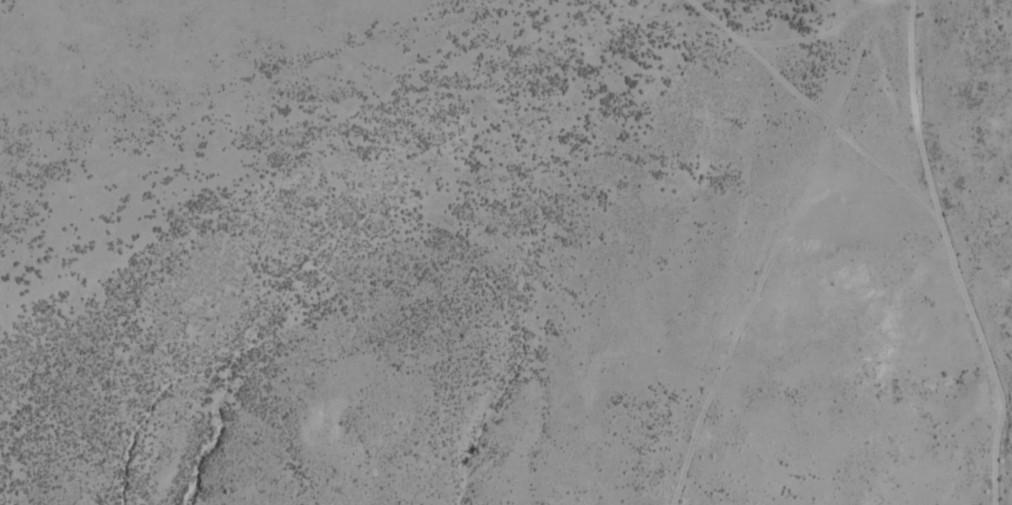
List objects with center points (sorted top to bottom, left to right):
road: (920, 250)

